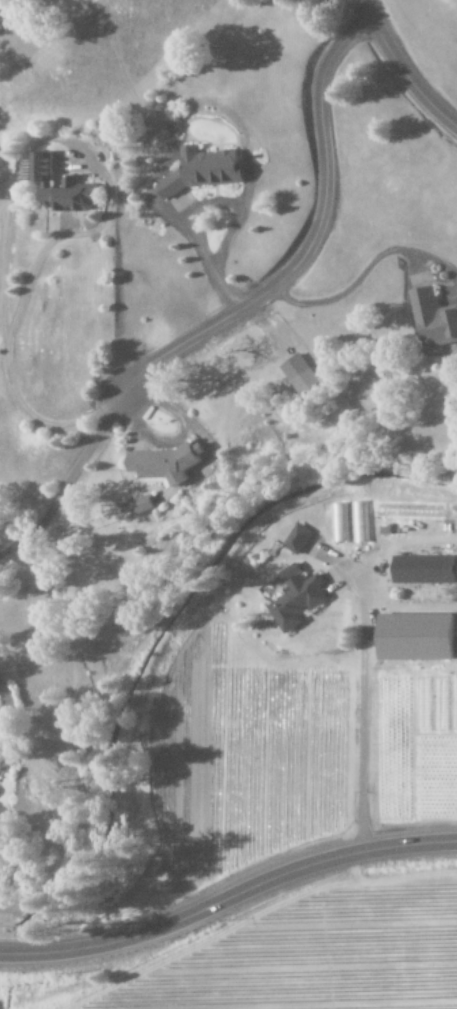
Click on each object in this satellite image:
road: (399, 72)
building: (204, 171)
building: (66, 187)
road: (310, 244)
building: (434, 318)
building: (302, 374)
building: (167, 463)
road: (66, 482)
building: (145, 506)
building: (340, 523)
building: (360, 523)
building: (299, 539)
building: (425, 570)
building: (300, 602)
building: (419, 637)
building: (2, 763)
road: (227, 896)
crop: (316, 959)

